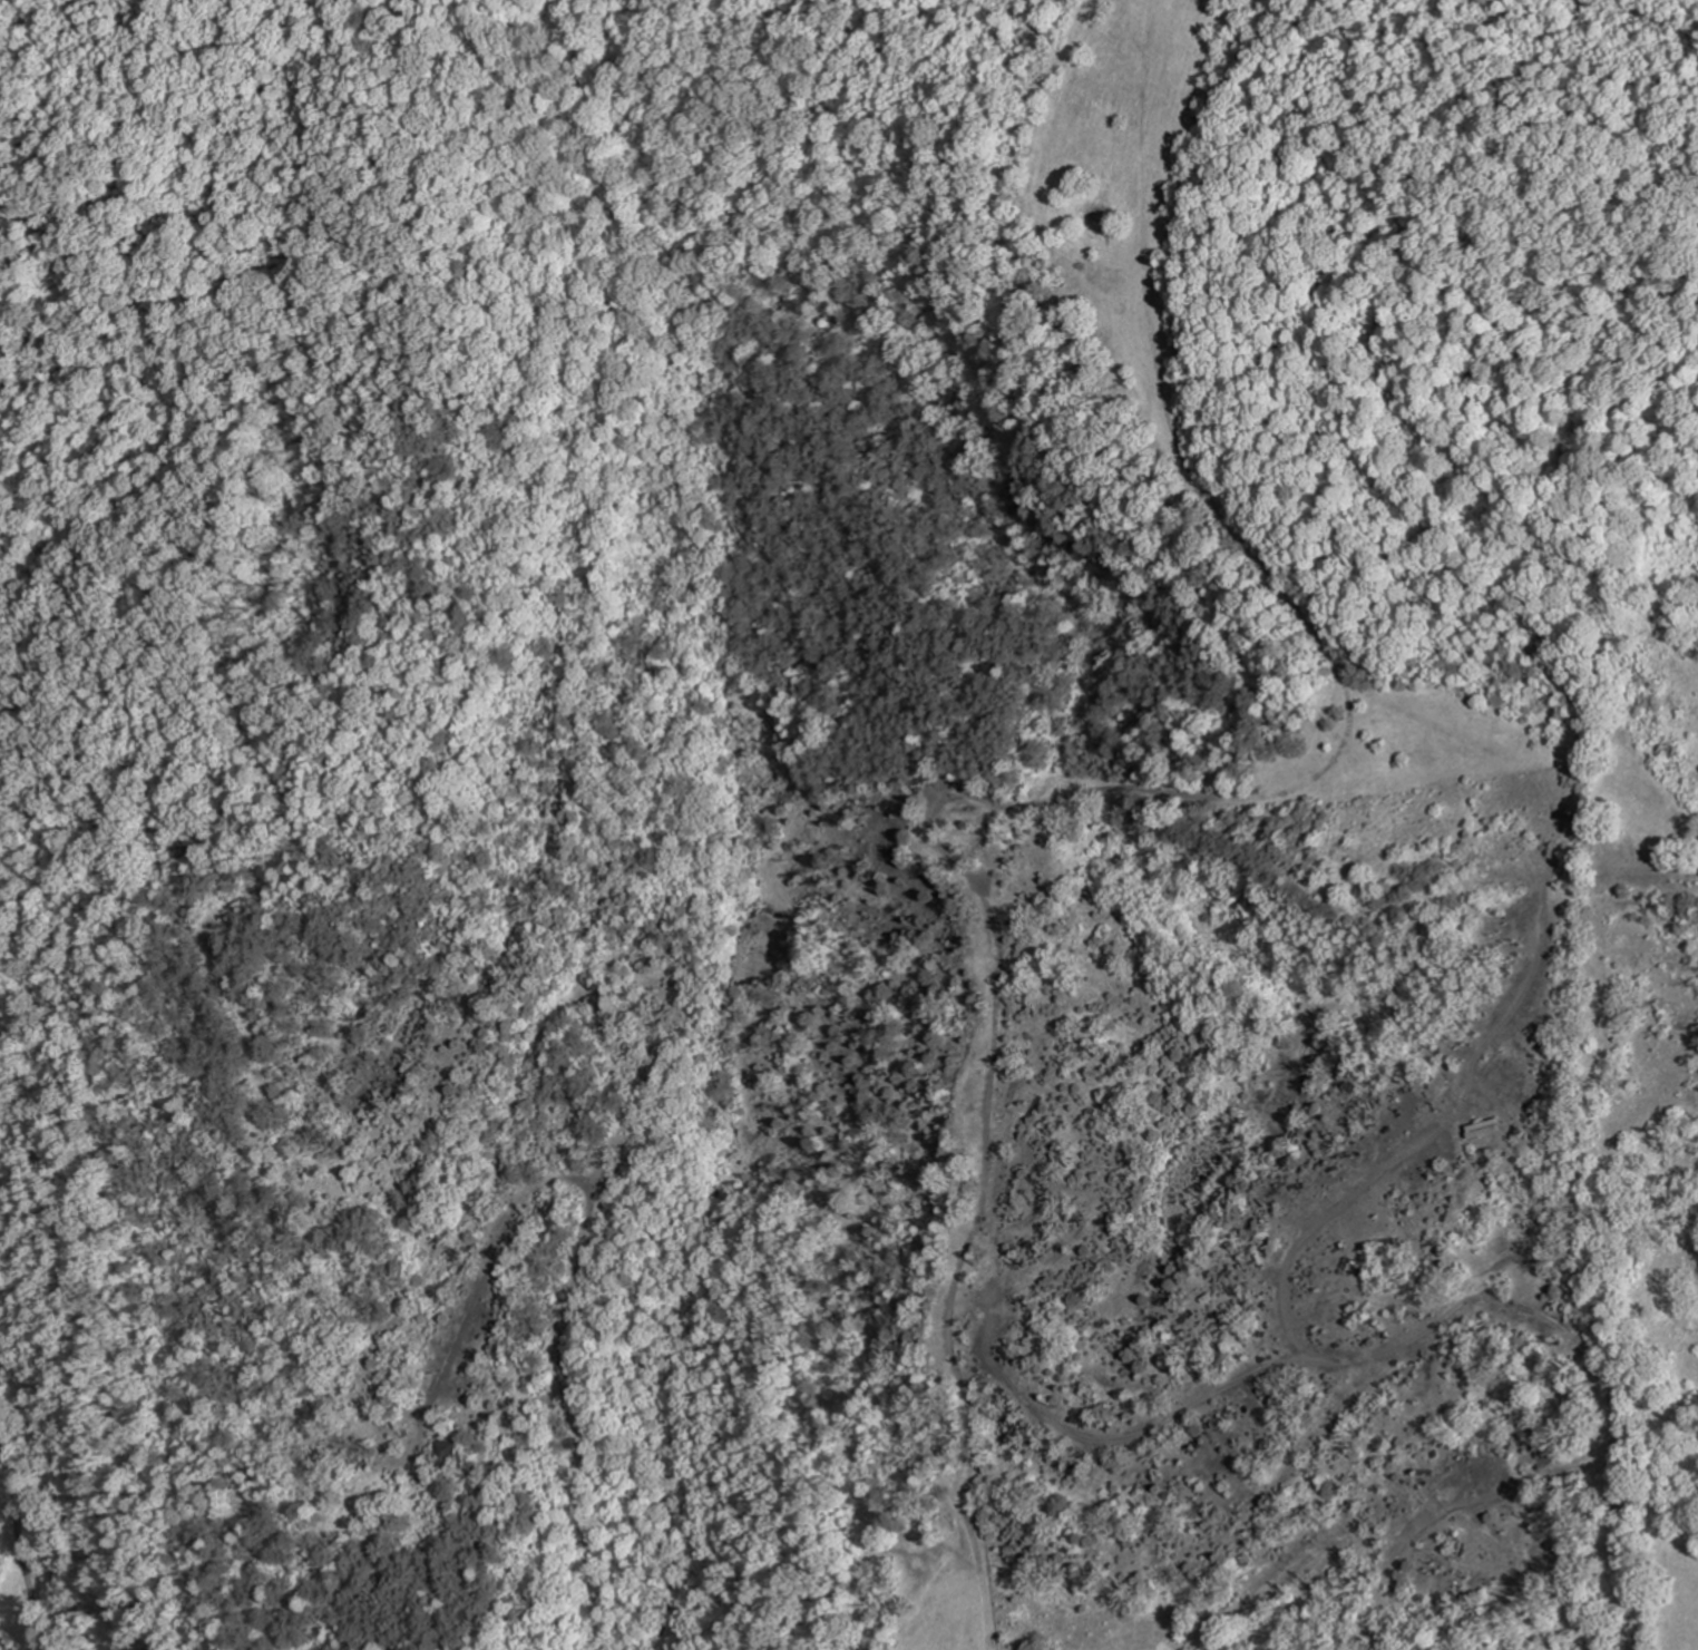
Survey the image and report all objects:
building: (1481, 1127)
road: (580, 1262)
building: (443, 1454)
road: (1493, 1466)
building: (1616, 1501)
park: (1237, 1647)

